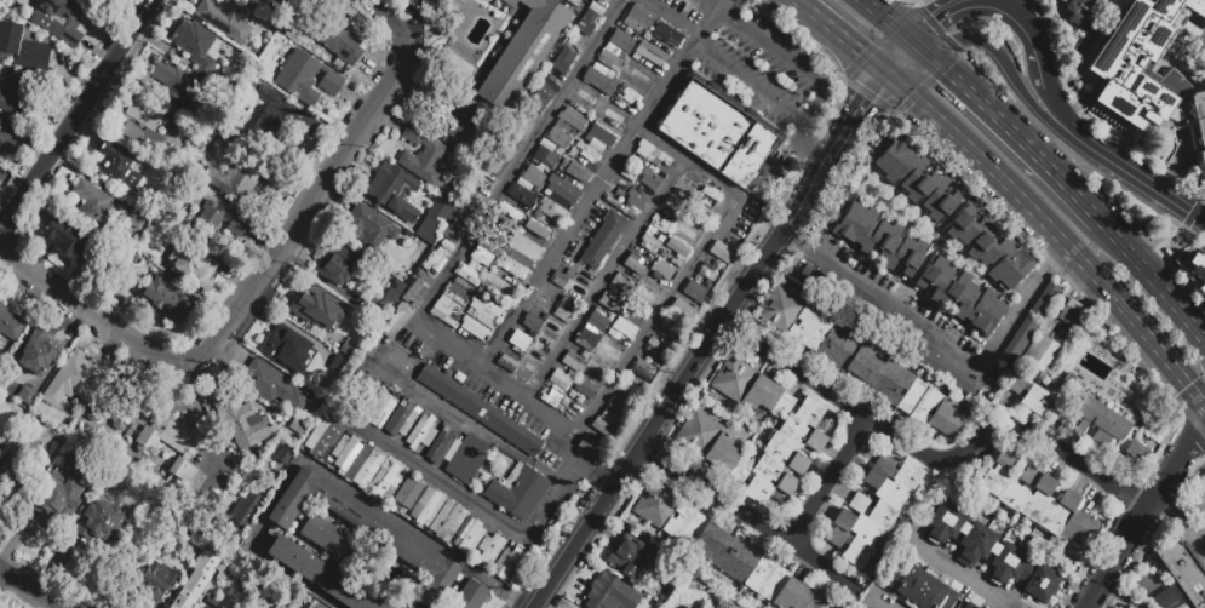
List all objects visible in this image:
building: (260, 0)
building: (690, 0)
building: (692, 0)
gas station: (692, 0)
road: (715, 1)
road: (706, 4)
road: (987, 4)
road: (1011, 5)
road: (908, 10)
road: (1009, 10)
building: (1078, 10)
road: (670, 16)
building: (638, 18)
road: (941, 18)
building: (223, 19)
building: (59, 22)
road: (889, 22)
traffic signals: (937, 22)
building: (587, 23)
road: (379, 24)
building: (666, 35)
road: (839, 35)
building: (645, 36)
building: (338, 40)
building: (621, 41)
road: (934, 44)
building: (196, 47)
road: (1032, 47)
building: (24, 50)
building: (523, 52)
building: (650, 53)
traffic signals: (862, 53)
road: (901, 58)
building: (610, 62)
building: (1136, 62)
building: (564, 63)
traffic signals: (947, 71)
road: (1008, 71)
building: (639, 73)
building: (305, 79)
building: (598, 80)
building: (173, 85)
building: (1204, 87)
building: (13, 96)
building: (541, 96)
building: (629, 96)
traffic signals: (863, 98)
building: (583, 99)
road: (1051, 102)
road: (815, 108)
road: (1115, 108)
building: (451, 110)
road: (896, 111)
building: (612, 114)
road: (853, 114)
road: (75, 115)
building: (1199, 115)
building: (573, 119)
building: (281, 121)
building: (144, 122)
road: (1011, 131)
building: (522, 132)
building: (719, 132)
building: (602, 134)
building: (7, 136)
building: (558, 137)
road: (808, 144)
building: (586, 151)
building: (650, 151)
building: (424, 154)
road: (1192, 156)
building: (546, 157)
road: (782, 157)
building: (117, 164)
building: (500, 164)
road: (1180, 164)
building: (1203, 164)
building: (578, 172)
road: (1129, 174)
building: (241, 176)
building: (627, 176)
road: (1085, 176)
building: (533, 177)
building: (916, 178)
building: (650, 180)
road: (598, 183)
building: (561, 188)
building: (688, 188)
building: (394, 193)
building: (619, 194)
building: (477, 195)
road: (804, 195)
building: (521, 196)
building: (711, 196)
road: (1136, 197)
building: (636, 199)
building: (671, 202)
building: (613, 203)
building: (93, 206)
building: (601, 207)
building: (551, 208)
road: (1032, 211)
building: (626, 212)
building: (510, 214)
building: (704, 216)
building: (136, 217)
building: (632, 217)
building: (434, 222)
building: (664, 222)
road: (1187, 222)
building: (214, 225)
building: (368, 226)
building: (455, 228)
building: (539, 228)
building: (690, 229)
road: (1181, 229)
building: (662, 230)
building: (655, 235)
building: (879, 239)
building: (495, 240)
building: (602, 240)
road: (1166, 240)
building: (64, 245)
building: (526, 246)
building: (649, 246)
building: (991, 248)
building: (678, 249)
building: (721, 252)
building: (665, 256)
building: (481, 257)
building: (434, 260)
building: (334, 264)
building: (191, 265)
building: (633, 266)
building: (662, 268)
road: (689, 268)
building: (515, 269)
road: (447, 271)
building: (1194, 271)
building: (707, 273)
building: (467, 275)
building: (655, 277)
building: (560, 280)
road: (606, 280)
building: (616, 280)
road: (1153, 283)
building: (583, 285)
building: (626, 286)
building: (498, 287)
building: (414, 292)
building: (653, 292)
building: (695, 292)
building: (454, 293)
building: (962, 297)
road: (240, 300)
road: (1025, 302)
building: (381, 303)
building: (166, 304)
building: (546, 304)
building: (567, 304)
building: (610, 304)
road: (883, 304)
building: (484, 306)
building: (317, 309)
building: (683, 310)
building: (639, 311)
building: (1073, 314)
building: (443, 315)
building: (597, 321)
building: (11, 323)
building: (534, 325)
building: (558, 325)
building: (395, 326)
building: (339, 327)
building: (475, 328)
building: (625, 328)
building: (294, 329)
building: (1027, 329)
building: (666, 333)
building: (885, 333)
building: (610, 334)
building: (584, 344)
building: (523, 345)
building: (545, 346)
building: (612, 349)
building: (655, 349)
building: (36, 354)
building: (1043, 355)
building: (573, 361)
building: (860, 363)
building: (507, 365)
road: (693, 367)
building: (598, 368)
building: (642, 369)
building: (298, 372)
building: (528, 373)
building: (75, 377)
building: (560, 380)
building: (642, 384)
building: (272, 385)
road: (1186, 385)
building: (586, 389)
building: (630, 390)
building: (1027, 394)
building: (362, 395)
building: (552, 400)
building: (379, 406)
building: (116, 407)
building: (616, 407)
building: (480, 409)
road: (201, 412)
building: (608, 419)
building: (400, 420)
building: (245, 426)
building: (603, 429)
building: (701, 430)
building: (1108, 430)
building: (421, 432)
road: (1199, 432)
building: (327, 441)
building: (170, 443)
building: (441, 446)
building: (589, 448)
building: (345, 452)
building: (283, 455)
building: (466, 460)
road: (947, 461)
building: (371, 470)
building: (13, 471)
road: (329, 474)
road: (826, 482)
building: (389, 483)
building: (517, 492)
building: (56, 493)
building: (408, 495)
building: (1038, 500)
road: (471, 501)
building: (426, 507)
building: (873, 510)
road: (741, 512)
road: (1171, 512)
building: (203, 516)
road: (1195, 516)
building: (243, 518)
building: (447, 520)
building: (101, 524)
road: (1141, 524)
building: (368, 535)
building: (469, 535)
building: (338, 543)
road: (1192, 544)
road: (570, 547)
building: (489, 550)
building: (725, 551)
building: (991, 552)
building: (630, 561)
building: (509, 563)
building: (78, 564)
building: (1182, 569)
building: (203, 572)
road: (960, 573)
building: (322, 577)
building: (154, 581)
building: (920, 587)
road: (29, 589)
building: (189, 589)
building: (612, 593)
building: (469, 596)
road: (534, 600)
road: (882, 601)
building: (288, 603)
building: (311, 603)
building: (969, 606)
building: (1129, 606)
building: (299, 607)
building: (1125, 607)

